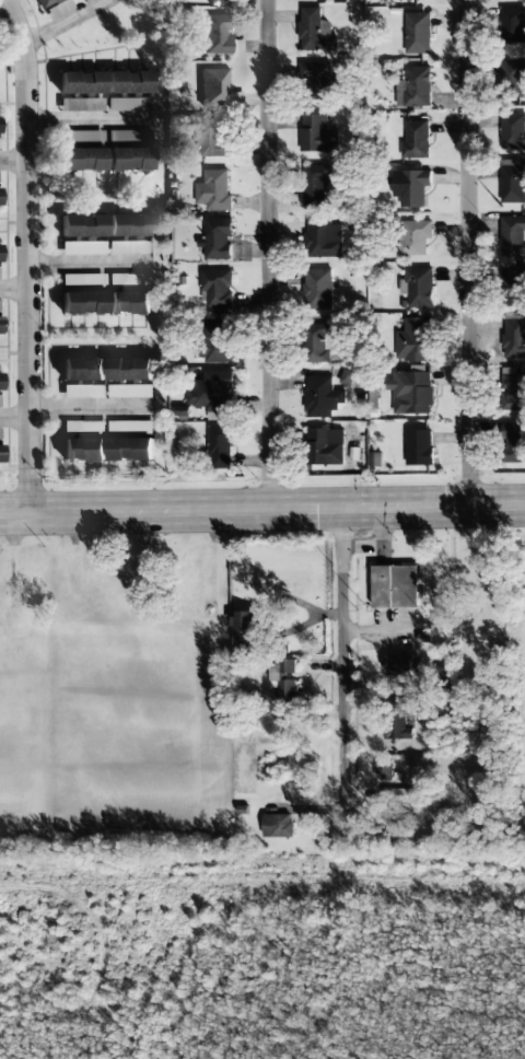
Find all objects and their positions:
building: (85, 0)
building: (217, 0)
building: (45, 2)
building: (512, 25)
building: (313, 31)
building: (417, 33)
building: (214, 34)
building: (512, 79)
building: (319, 80)
building: (127, 82)
building: (80, 83)
building: (417, 86)
building: (213, 88)
building: (128, 105)
building: (513, 130)
building: (316, 133)
building: (80, 136)
building: (128, 136)
building: (213, 137)
building: (415, 139)
building: (80, 160)
building: (128, 160)
building: (513, 182)
building: (316, 185)
building: (412, 188)
building: (217, 189)
building: (80, 225)
building: (128, 225)
building: (512, 236)
building: (218, 237)
building: (415, 237)
building: (322, 238)
building: (82, 248)
road: (468, 253)
road: (28, 255)
road: (268, 255)
building: (129, 280)
building: (512, 287)
building: (215, 288)
building: (419, 288)
building: (316, 289)
building: (81, 302)
building: (129, 302)
building: (513, 336)
building: (213, 340)
building: (412, 340)
building: (317, 342)
building: (82, 369)
building: (130, 369)
building: (347, 377)
building: (512, 388)
building: (130, 391)
building: (83, 392)
building: (412, 392)
building: (211, 394)
building: (322, 396)
building: (130, 424)
building: (82, 427)
building: (513, 443)
building: (323, 445)
building: (219, 446)
building: (419, 447)
building: (130, 449)
building: (83, 450)
building: (0, 454)
road: (262, 510)
building: (395, 586)
building: (245, 631)
road: (341, 663)
building: (401, 664)
building: (282, 677)
building: (396, 719)
building: (383, 771)
building: (395, 795)
building: (278, 825)

